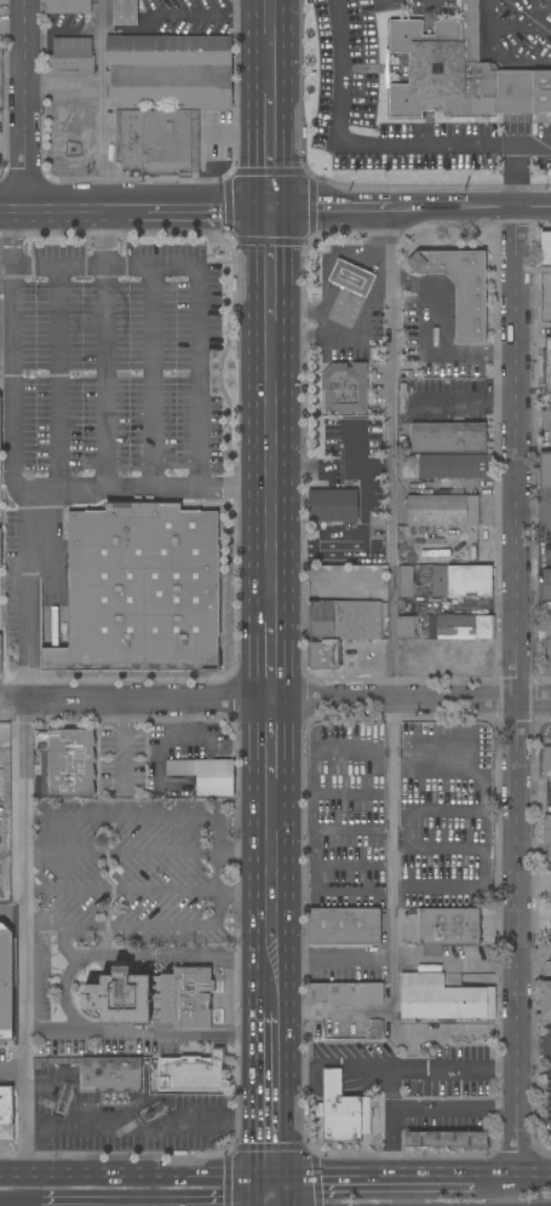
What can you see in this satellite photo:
road: (383, 2)
road: (432, 2)
building: (68, 7)
building: (125, 12)
road: (183, 15)
road: (504, 29)
road: (101, 41)
road: (270, 47)
building: (71, 58)
building: (459, 71)
building: (170, 73)
road: (63, 84)
road: (22, 104)
building: (128, 139)
road: (355, 140)
building: (170, 142)
road: (105, 147)
road: (270, 151)
road: (515, 160)
road: (134, 208)
traffic signals: (270, 208)
road: (411, 208)
building: (546, 248)
road: (270, 264)
building: (351, 278)
building: (460, 288)
road: (436, 333)
road: (104, 348)
building: (546, 367)
road: (201, 374)
road: (151, 378)
road: (57, 379)
building: (345, 389)
road: (467, 401)
road: (533, 421)
building: (448, 438)
road: (352, 449)
road: (23, 454)
building: (448, 466)
road: (331, 469)
road: (270, 471)
building: (545, 471)
road: (235, 488)
building: (450, 492)
building: (333, 505)
building: (443, 511)
building: (378, 533)
building: (0, 549)
building: (355, 557)
building: (461, 580)
building: (404, 581)
building: (546, 585)
building: (140, 591)
building: (547, 614)
building: (340, 627)
building: (404, 627)
building: (450, 648)
building: (0, 654)
building: (547, 654)
road: (270, 661)
road: (392, 678)
road: (515, 693)
road: (12, 700)
road: (288, 701)
road: (270, 740)
building: (547, 754)
building: (70, 763)
building: (206, 775)
building: (467, 781)
building: (550, 781)
road: (138, 815)
building: (547, 829)
road: (2, 831)
road: (271, 835)
road: (149, 852)
building: (351, 878)
road: (148, 891)
road: (151, 924)
road: (271, 924)
building: (449, 926)
building: (343, 928)
road: (63, 929)
road: (28, 941)
building: (431, 951)
road: (132, 957)
road: (333, 959)
road: (533, 972)
building: (5, 983)
road: (271, 984)
building: (345, 993)
building: (443, 997)
building: (154, 998)
building: (545, 1000)
road: (332, 1012)
road: (271, 1026)
road: (150, 1035)
road: (533, 1046)
road: (272, 1051)
road: (332, 1064)
road: (453, 1068)
building: (101, 1072)
building: (191, 1073)
road: (15, 1074)
petroleum well: (63, 1098)
road: (432, 1107)
building: (341, 1112)
petroleum well: (153, 1113)
building: (6, 1114)
road: (272, 1121)
road: (150, 1129)
building: (444, 1139)
road: (391, 1143)
road: (495, 1178)
road: (534, 1178)
road: (127, 1179)
road: (264, 1179)
traffic signals: (274, 1179)
road: (373, 1179)
road: (266, 1193)
road: (272, 1193)
road: (279, 1193)

